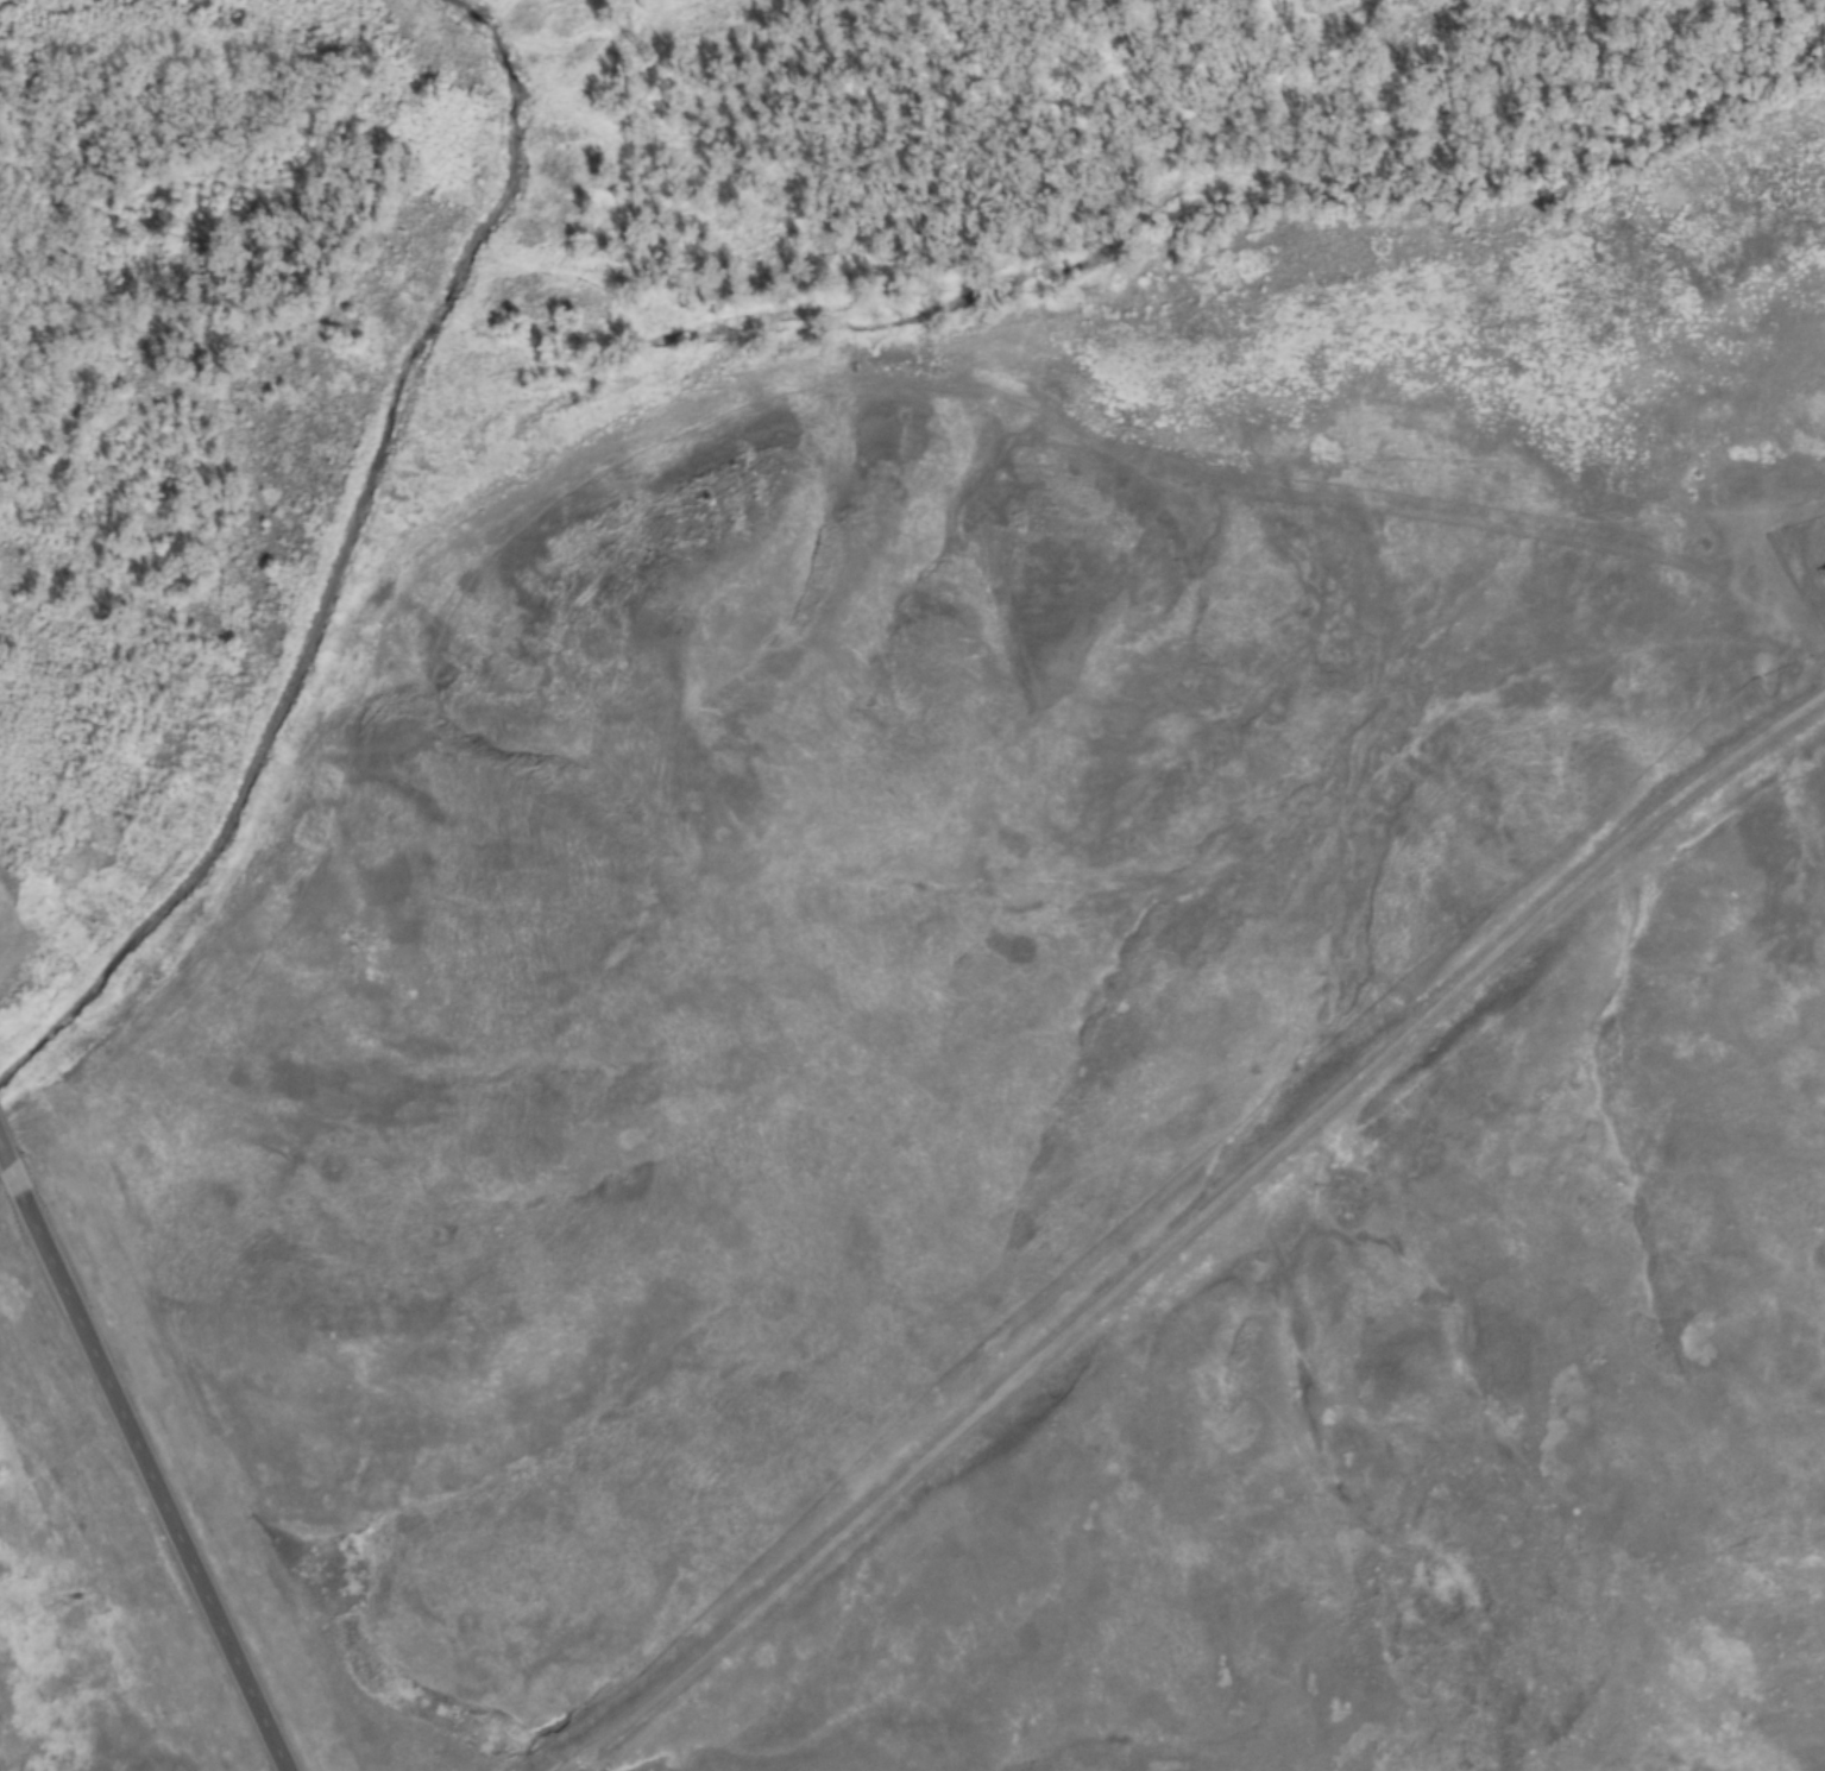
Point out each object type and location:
river: (346, 569)
building: (12, 1154)
road: (11, 1195)
road: (1188, 1222)
road: (149, 1494)

